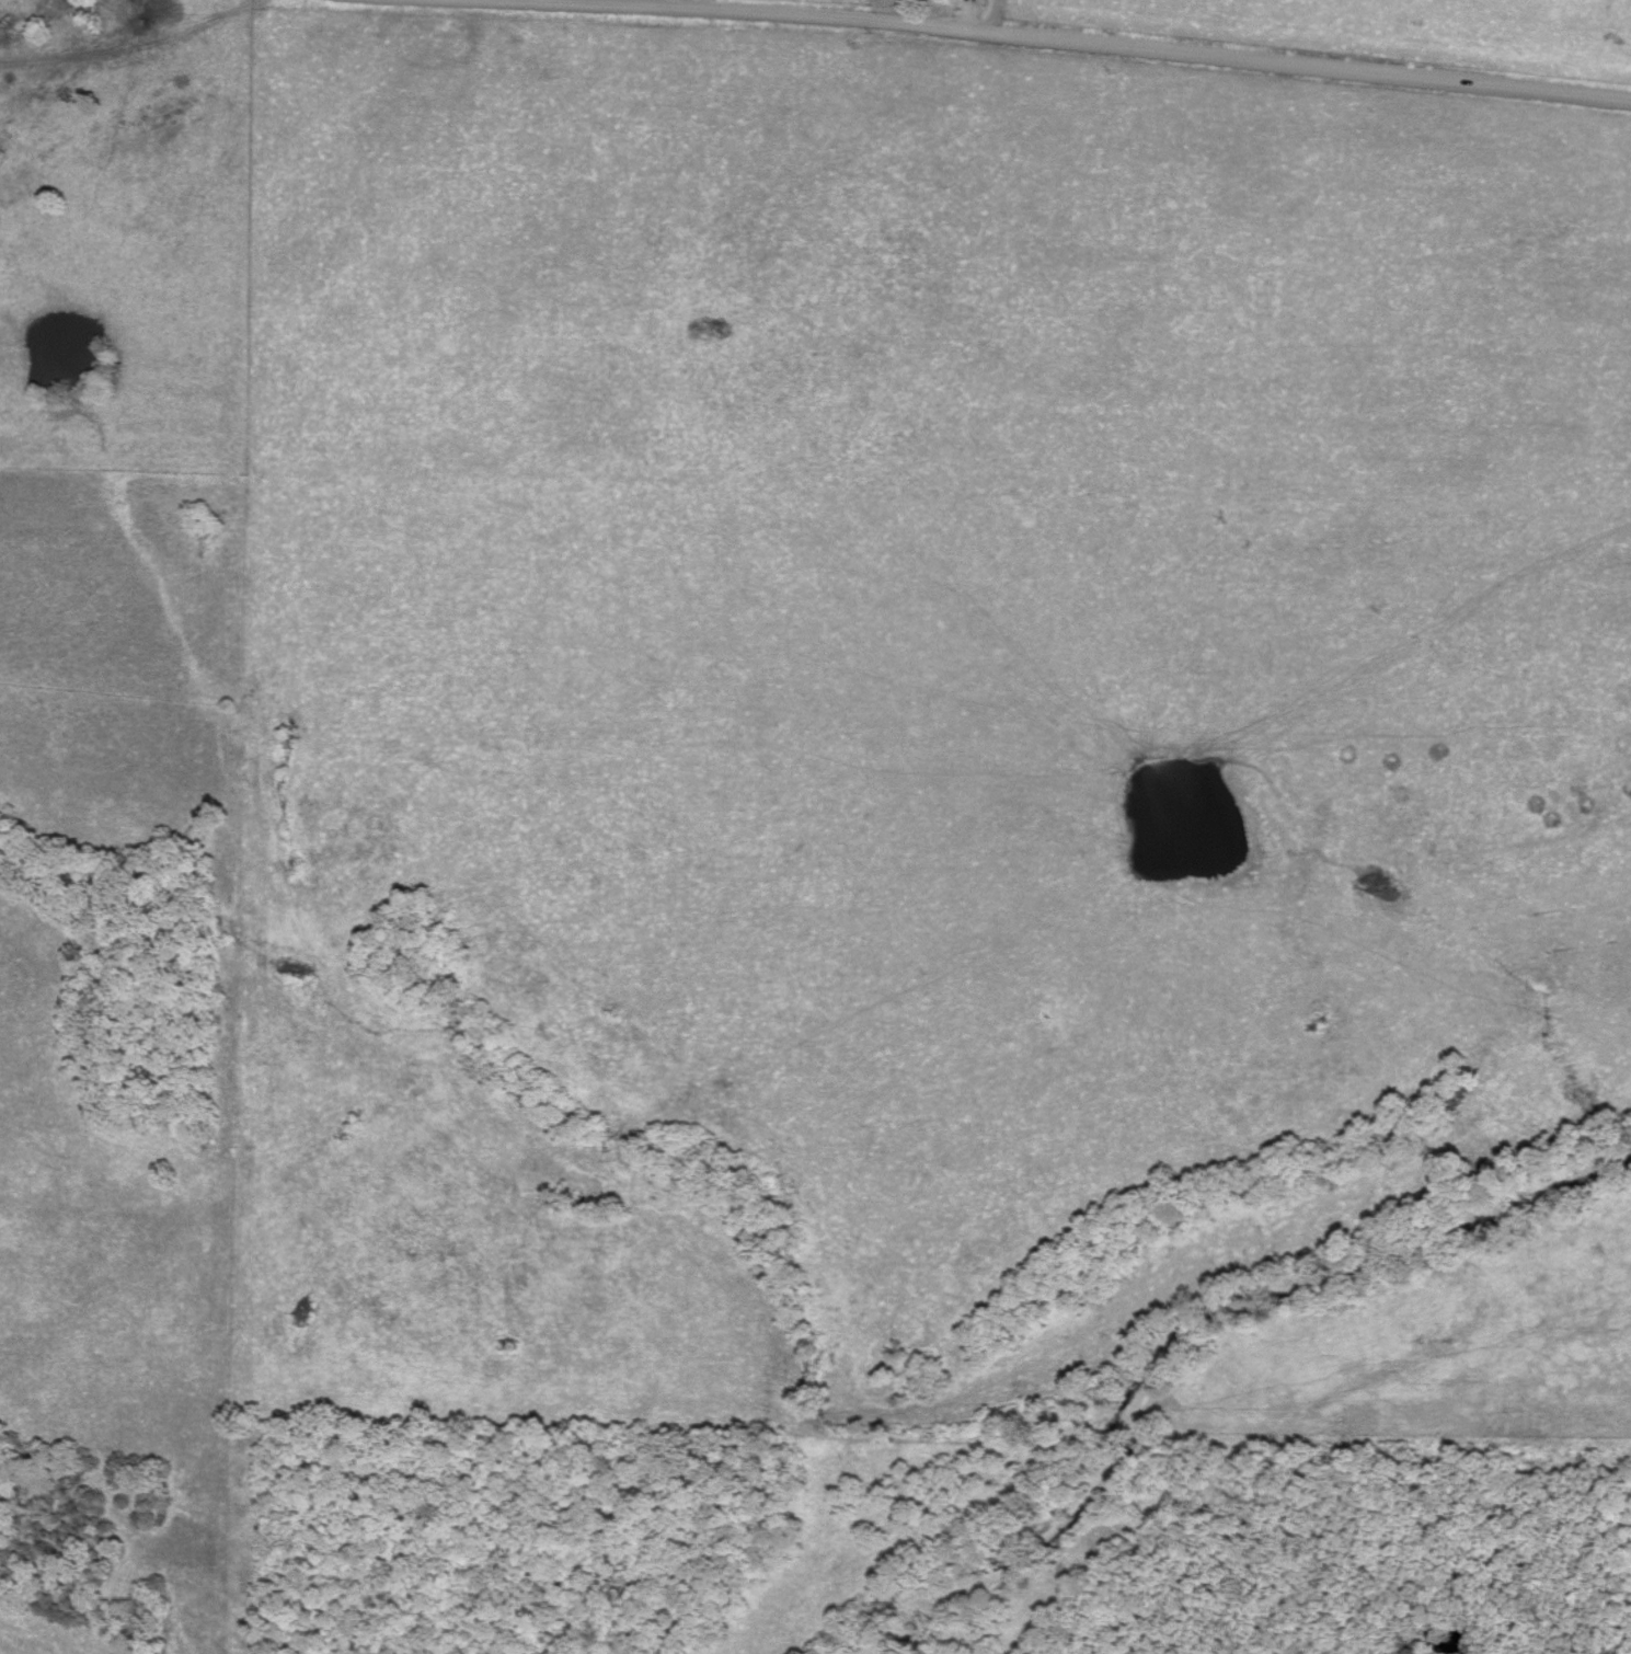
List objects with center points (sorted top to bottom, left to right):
road: (956, 68)

